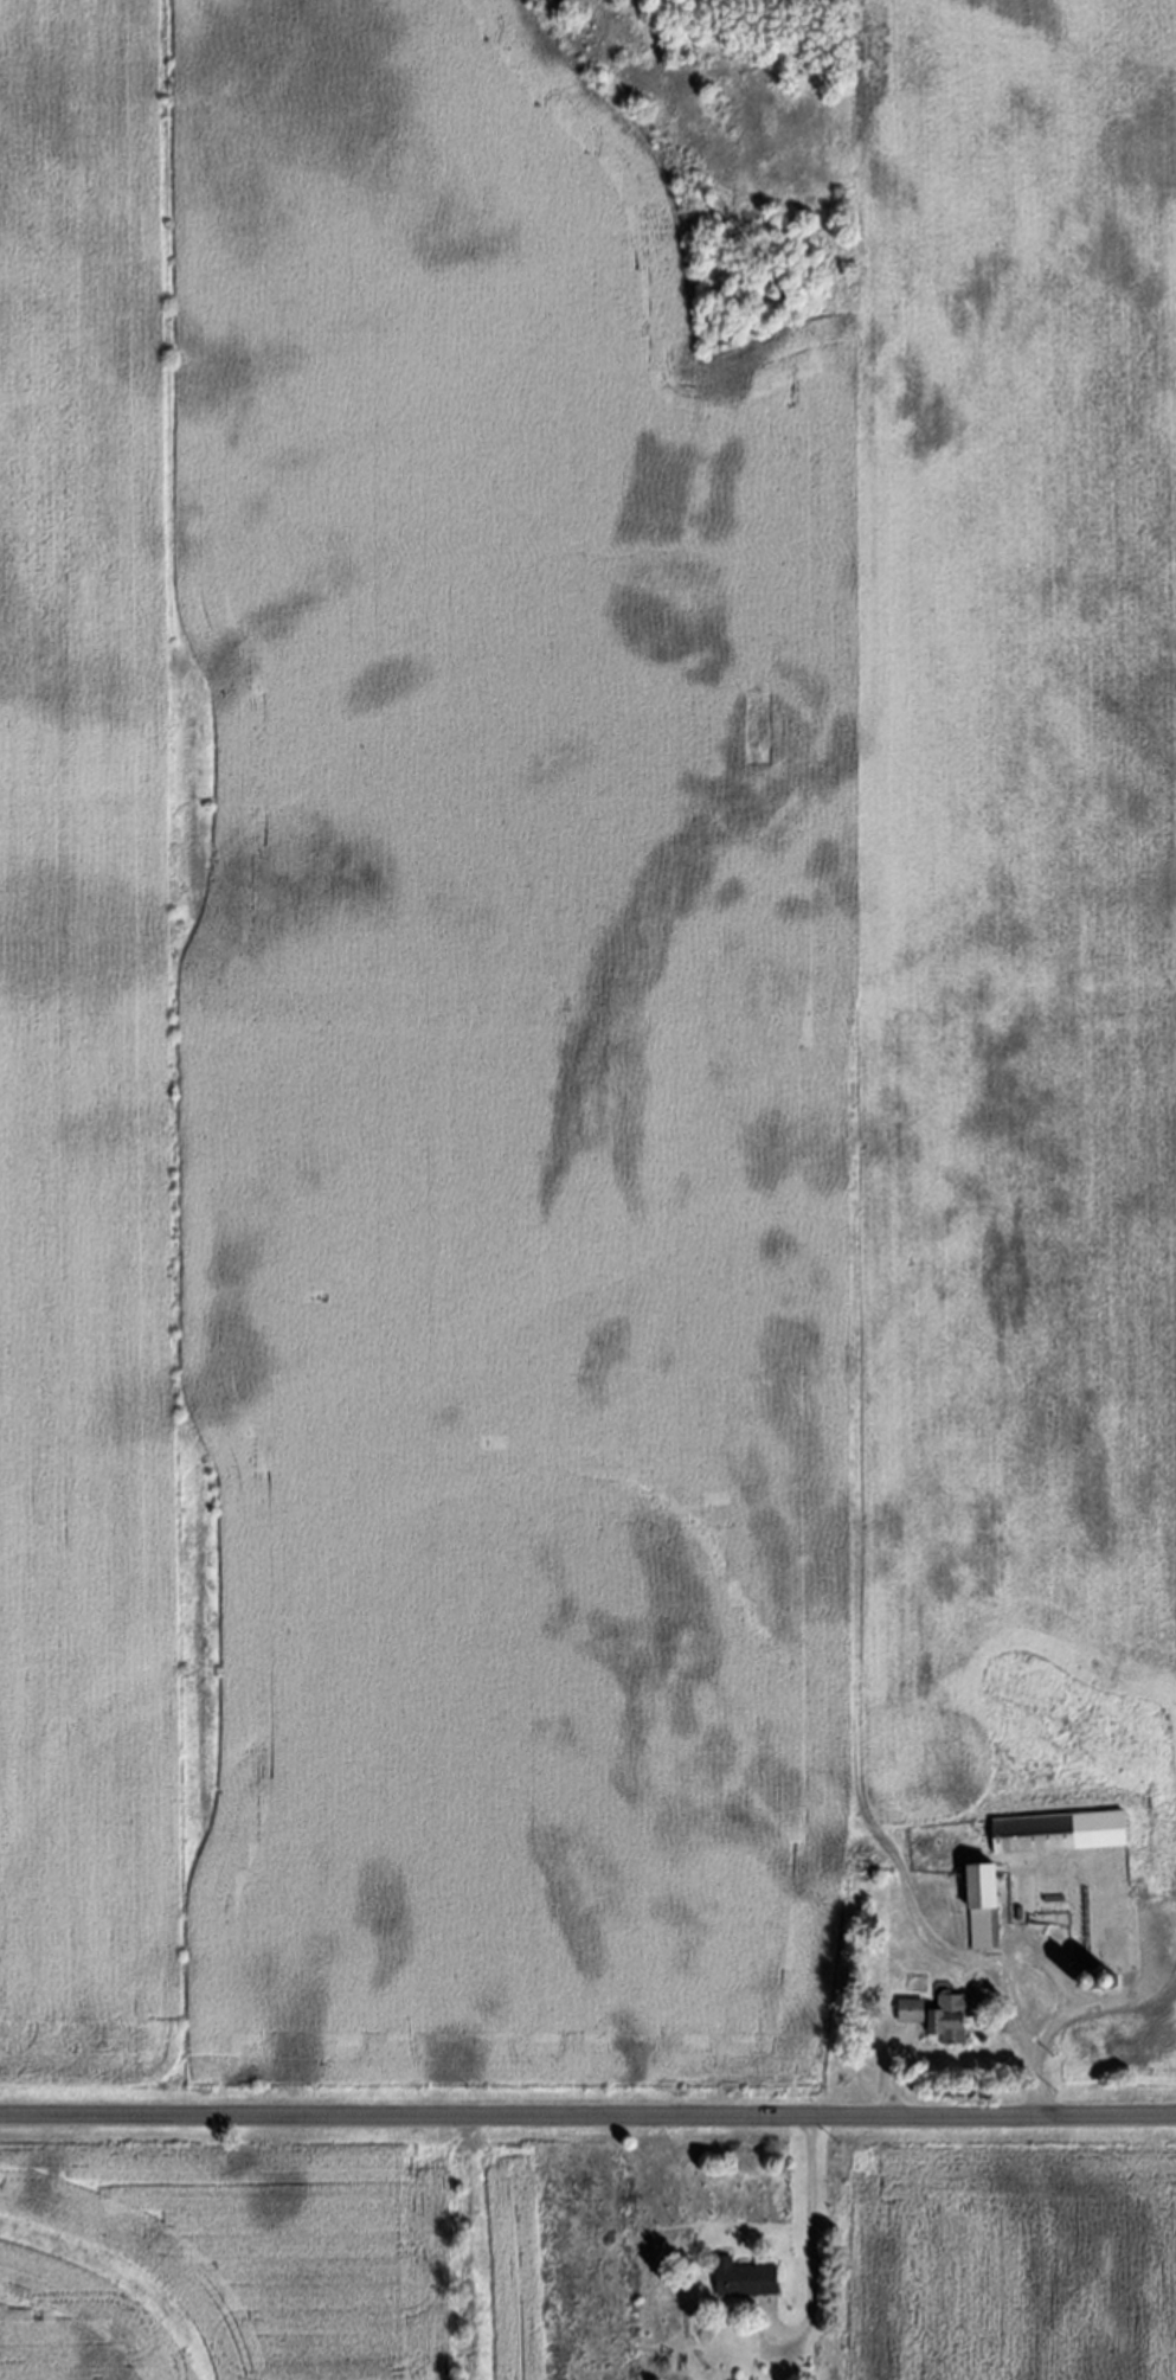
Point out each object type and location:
building: (1060, 1833)
building: (984, 1906)
road: (1052, 1972)
building: (912, 2012)
building: (956, 2015)
road: (587, 2117)
road: (808, 2234)
building: (745, 2278)

